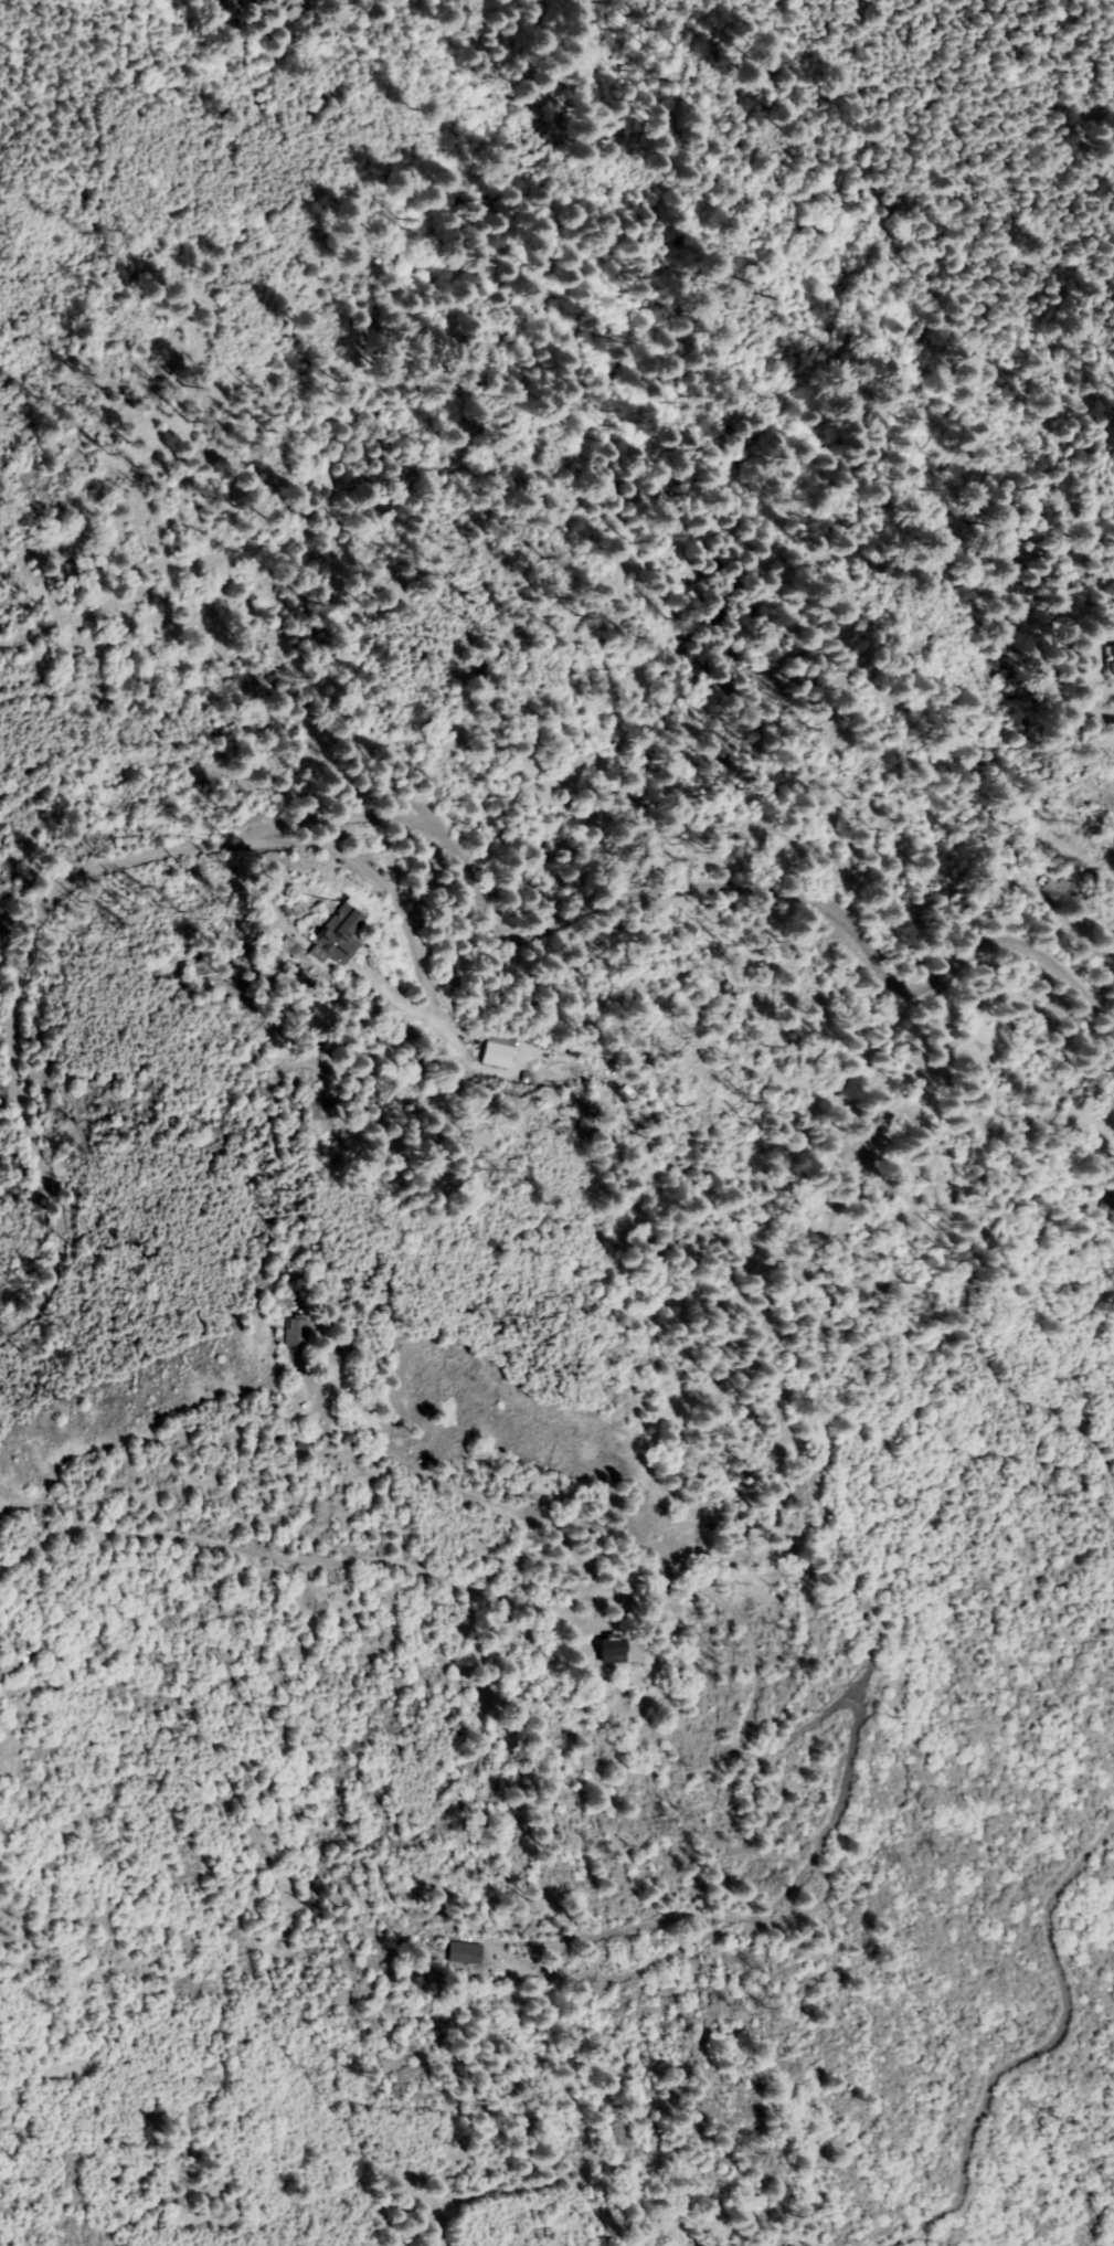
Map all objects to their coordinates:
building: (1113, 659)
road: (357, 872)
building: (346, 937)
building: (498, 1056)
road: (962, 1259)
road: (723, 1280)
building: (295, 1332)
road: (435, 1579)
building: (620, 1651)
road: (597, 1741)
building: (476, 1953)
road: (1030, 2054)
road: (556, 2185)

